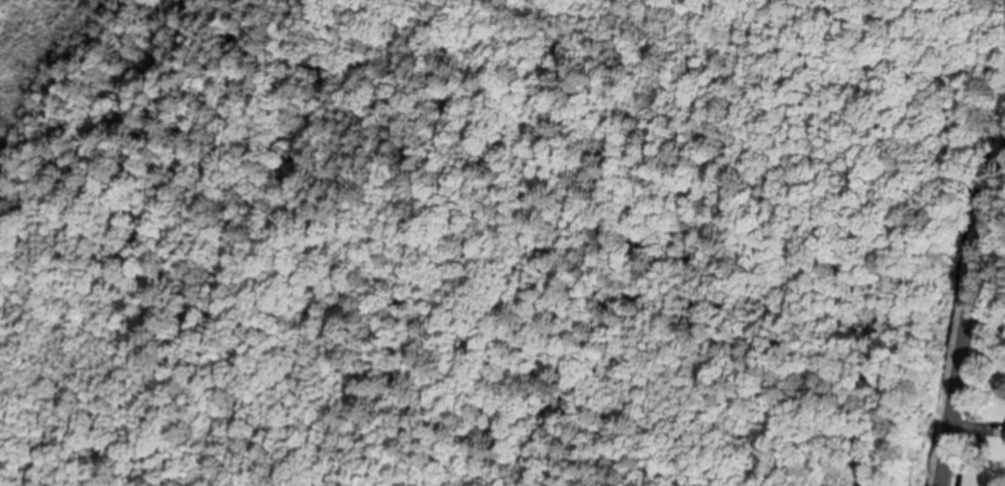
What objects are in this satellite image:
road: (966, 306)

